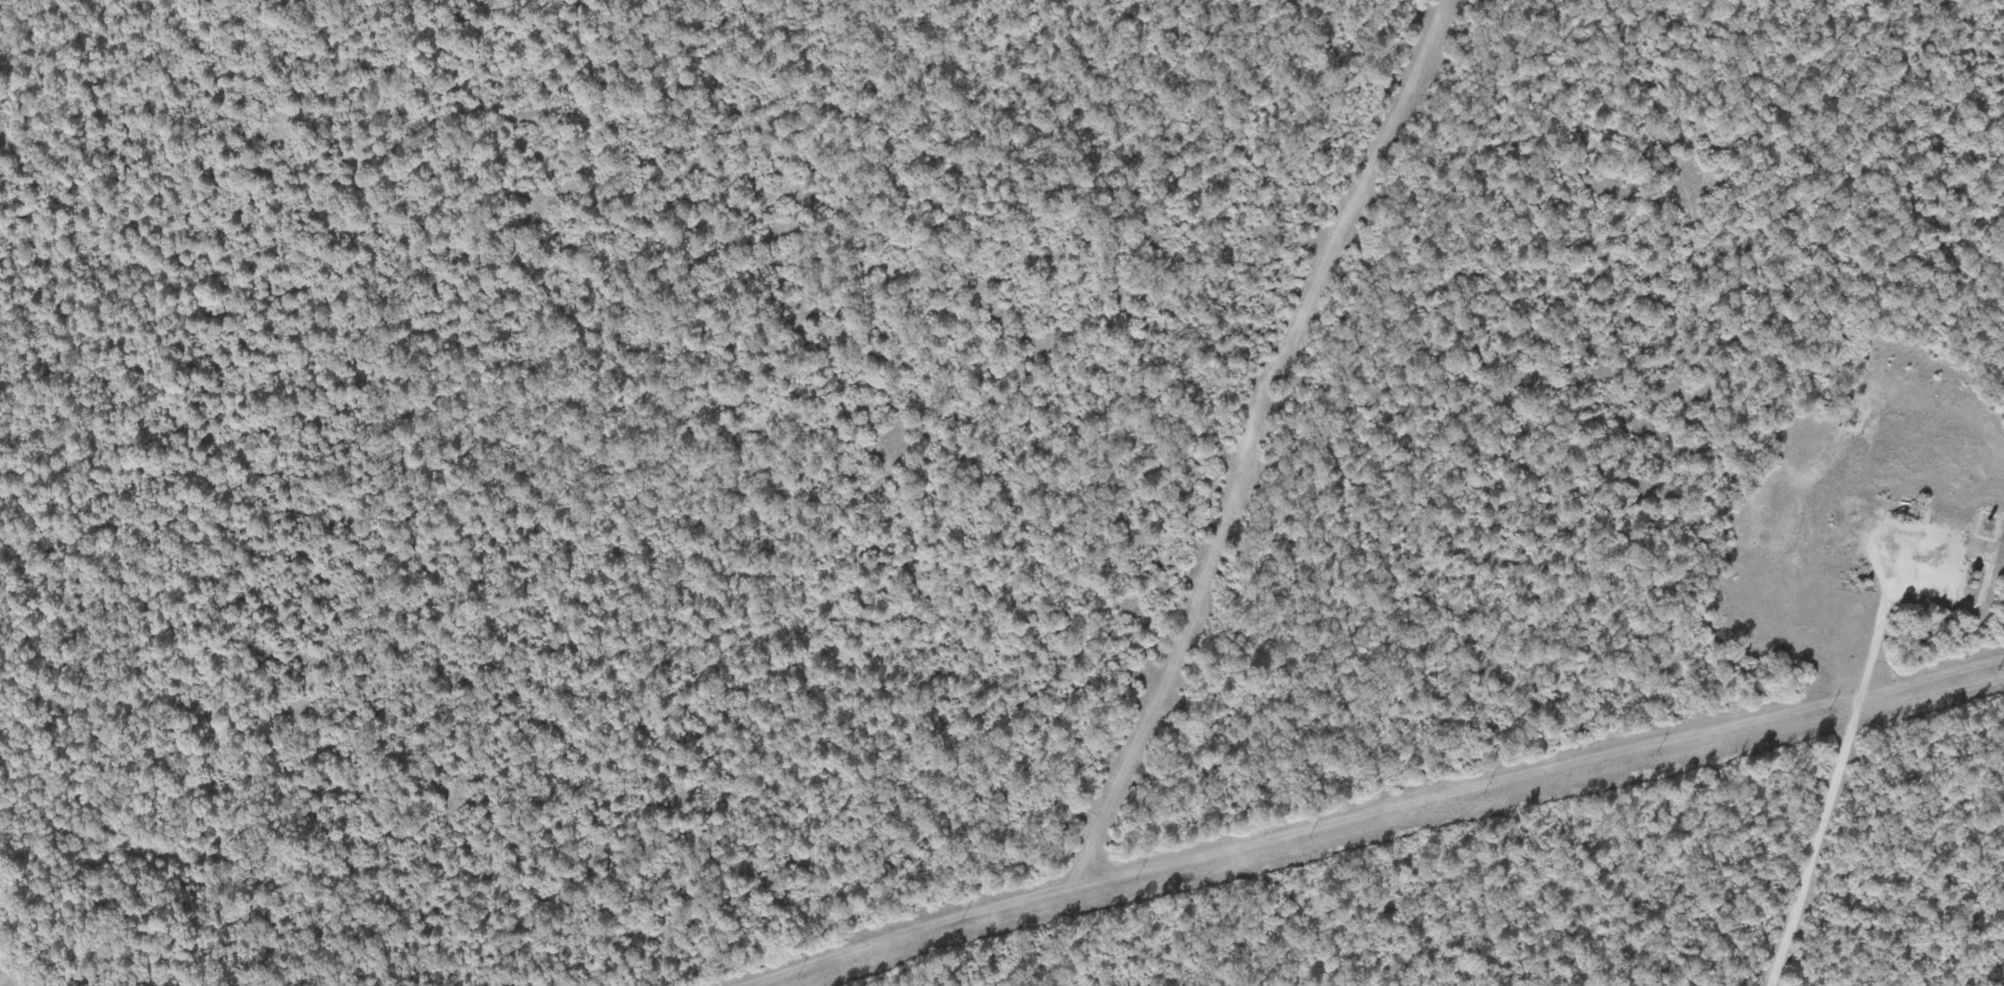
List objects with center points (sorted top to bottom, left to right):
petroleum well: (1893, 516)
chimney: (1984, 520)
road: (1919, 530)
building: (1972, 567)
silo: (1972, 567)
building: (1971, 575)
silo: (1971, 575)
building: (1969, 584)
silo: (1969, 584)
road: (1832, 789)

